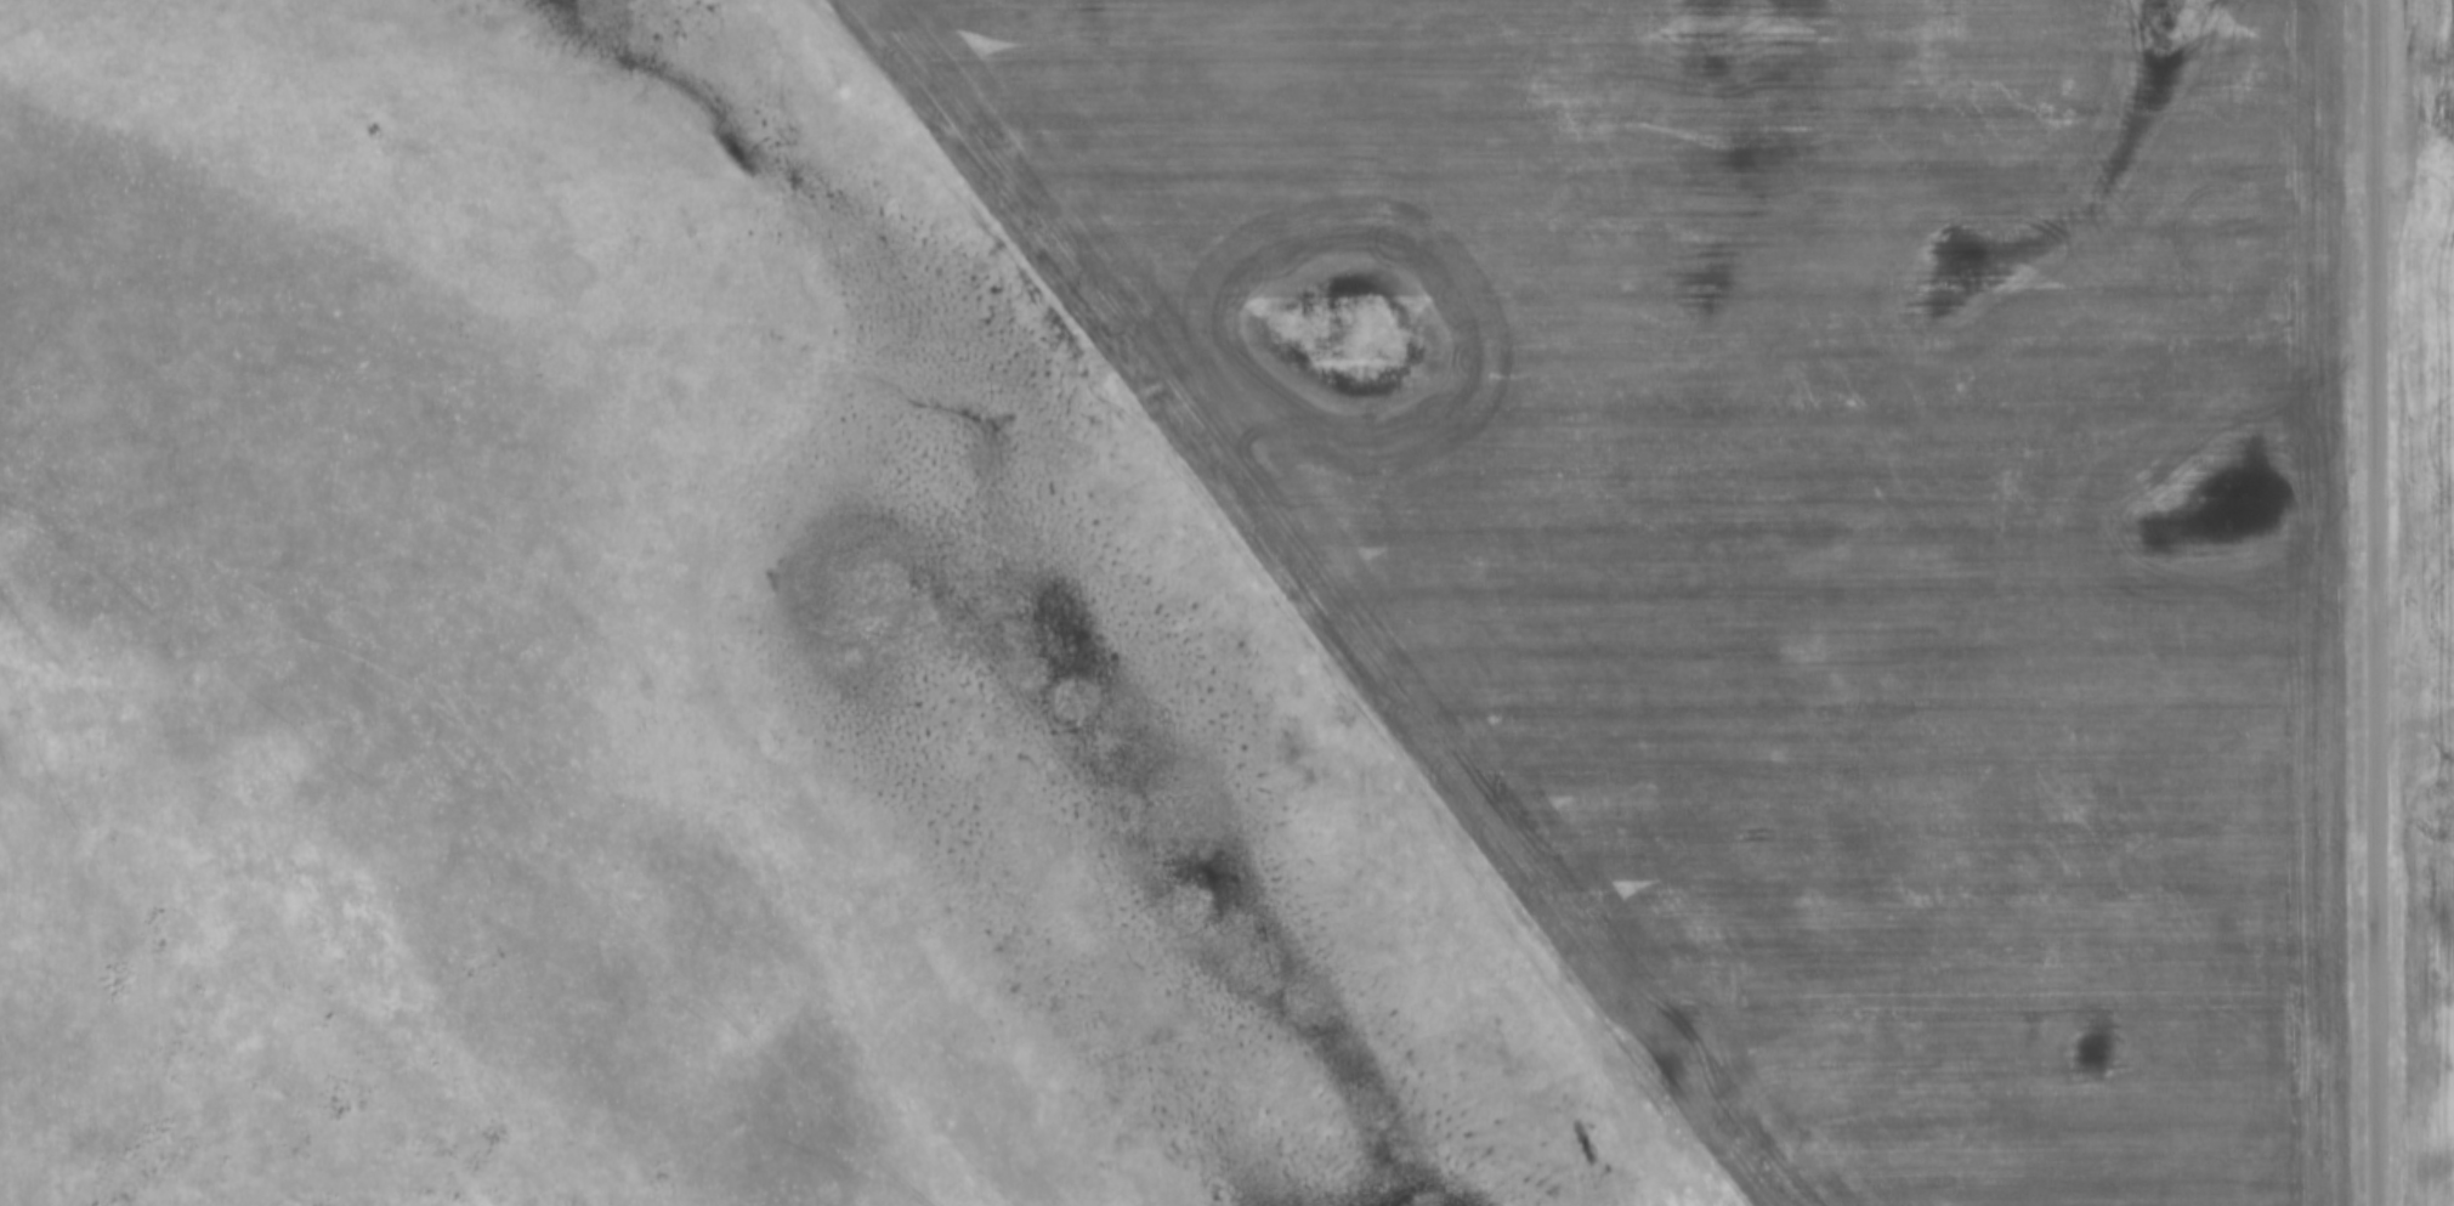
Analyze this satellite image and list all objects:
road: (2376, 602)

